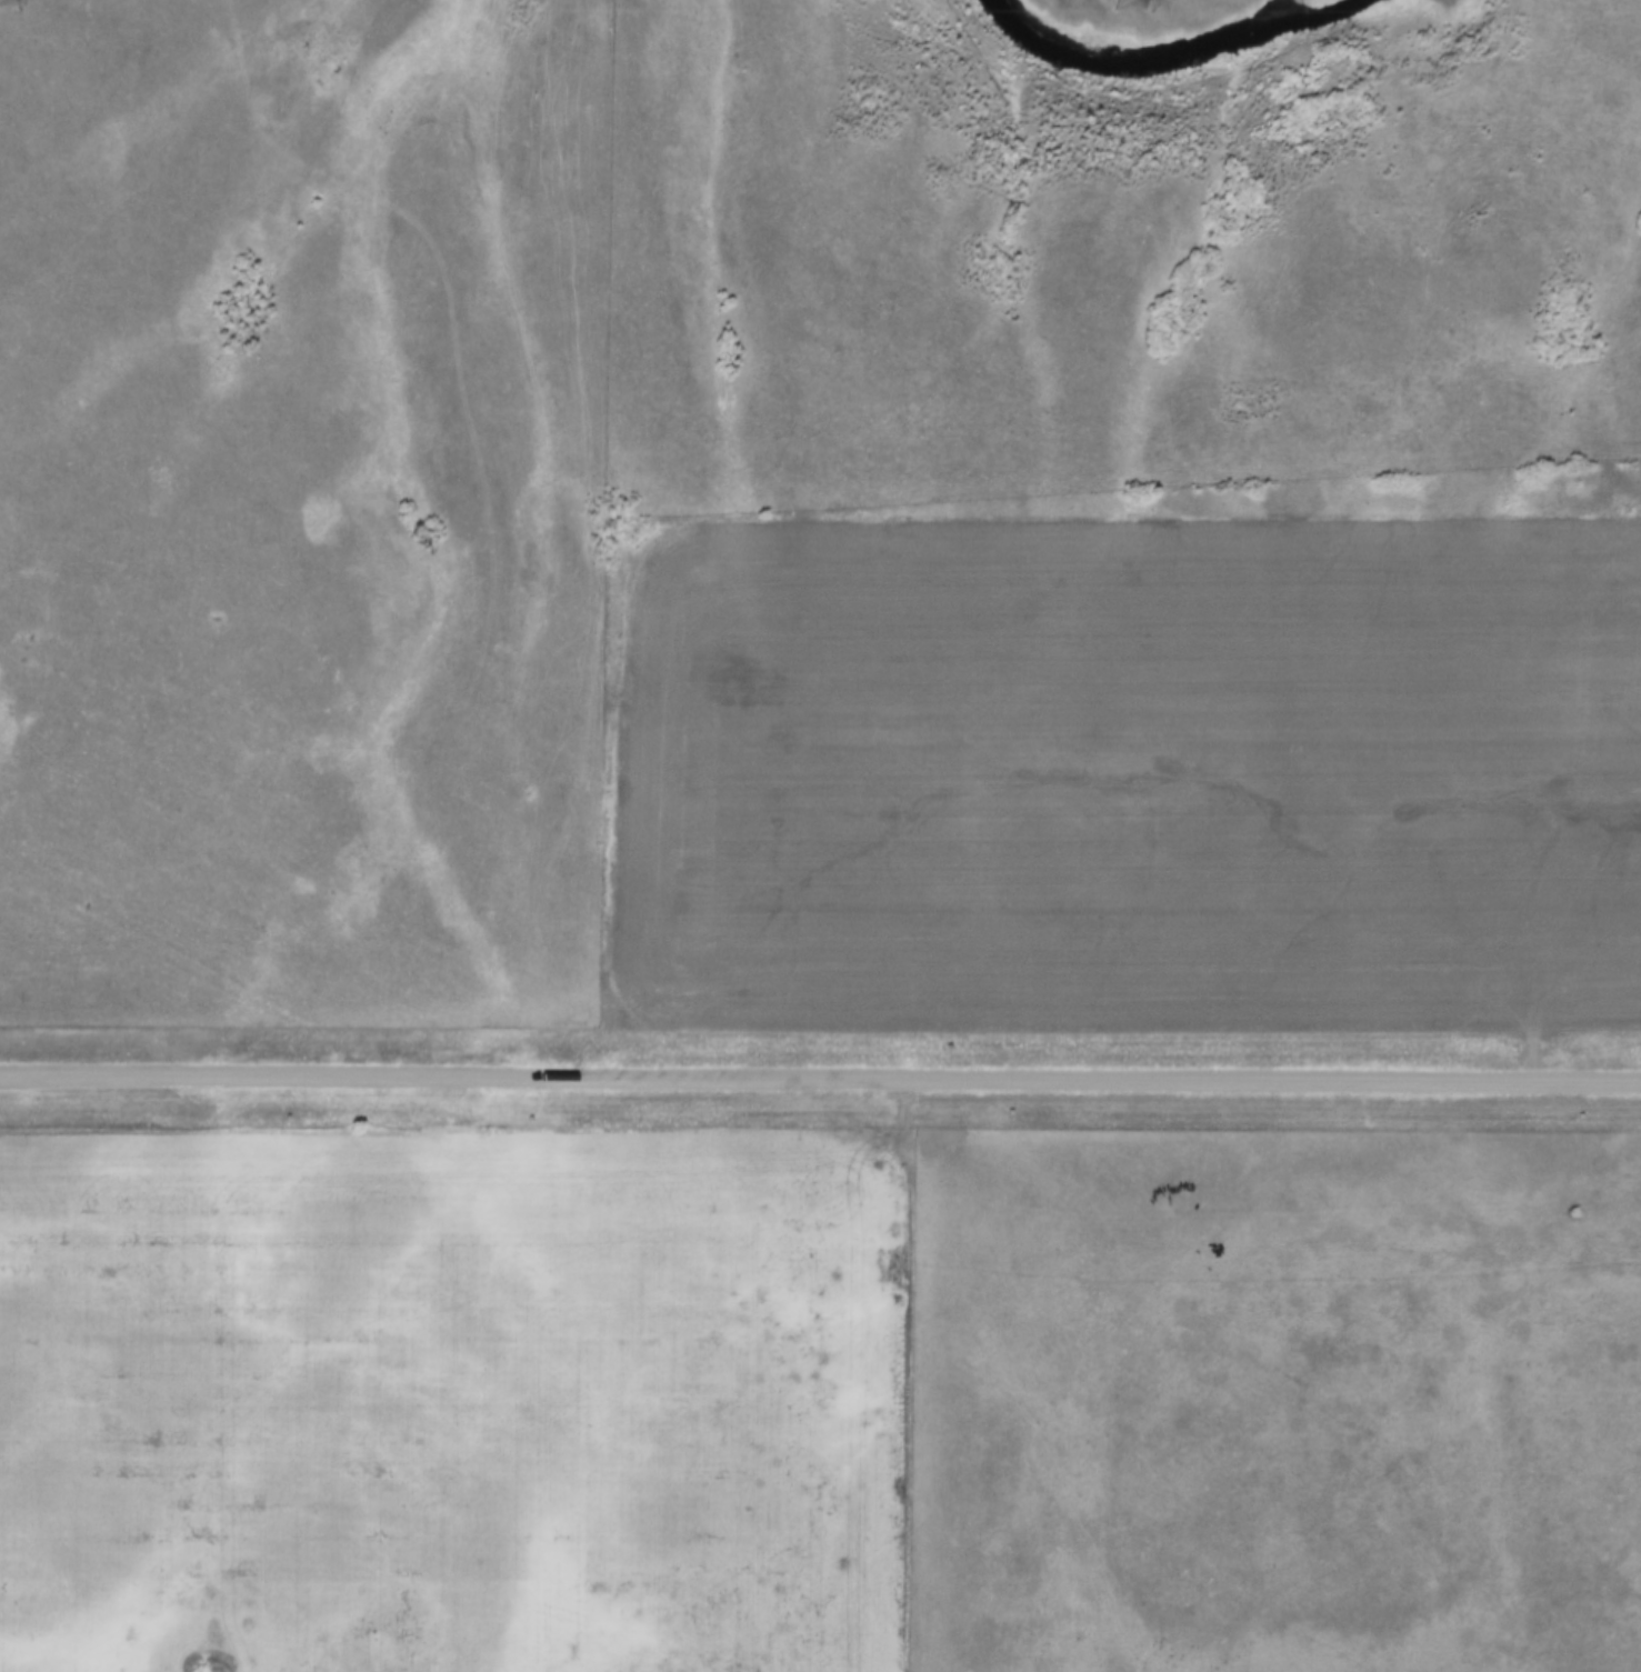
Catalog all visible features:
road: (820, 1080)

